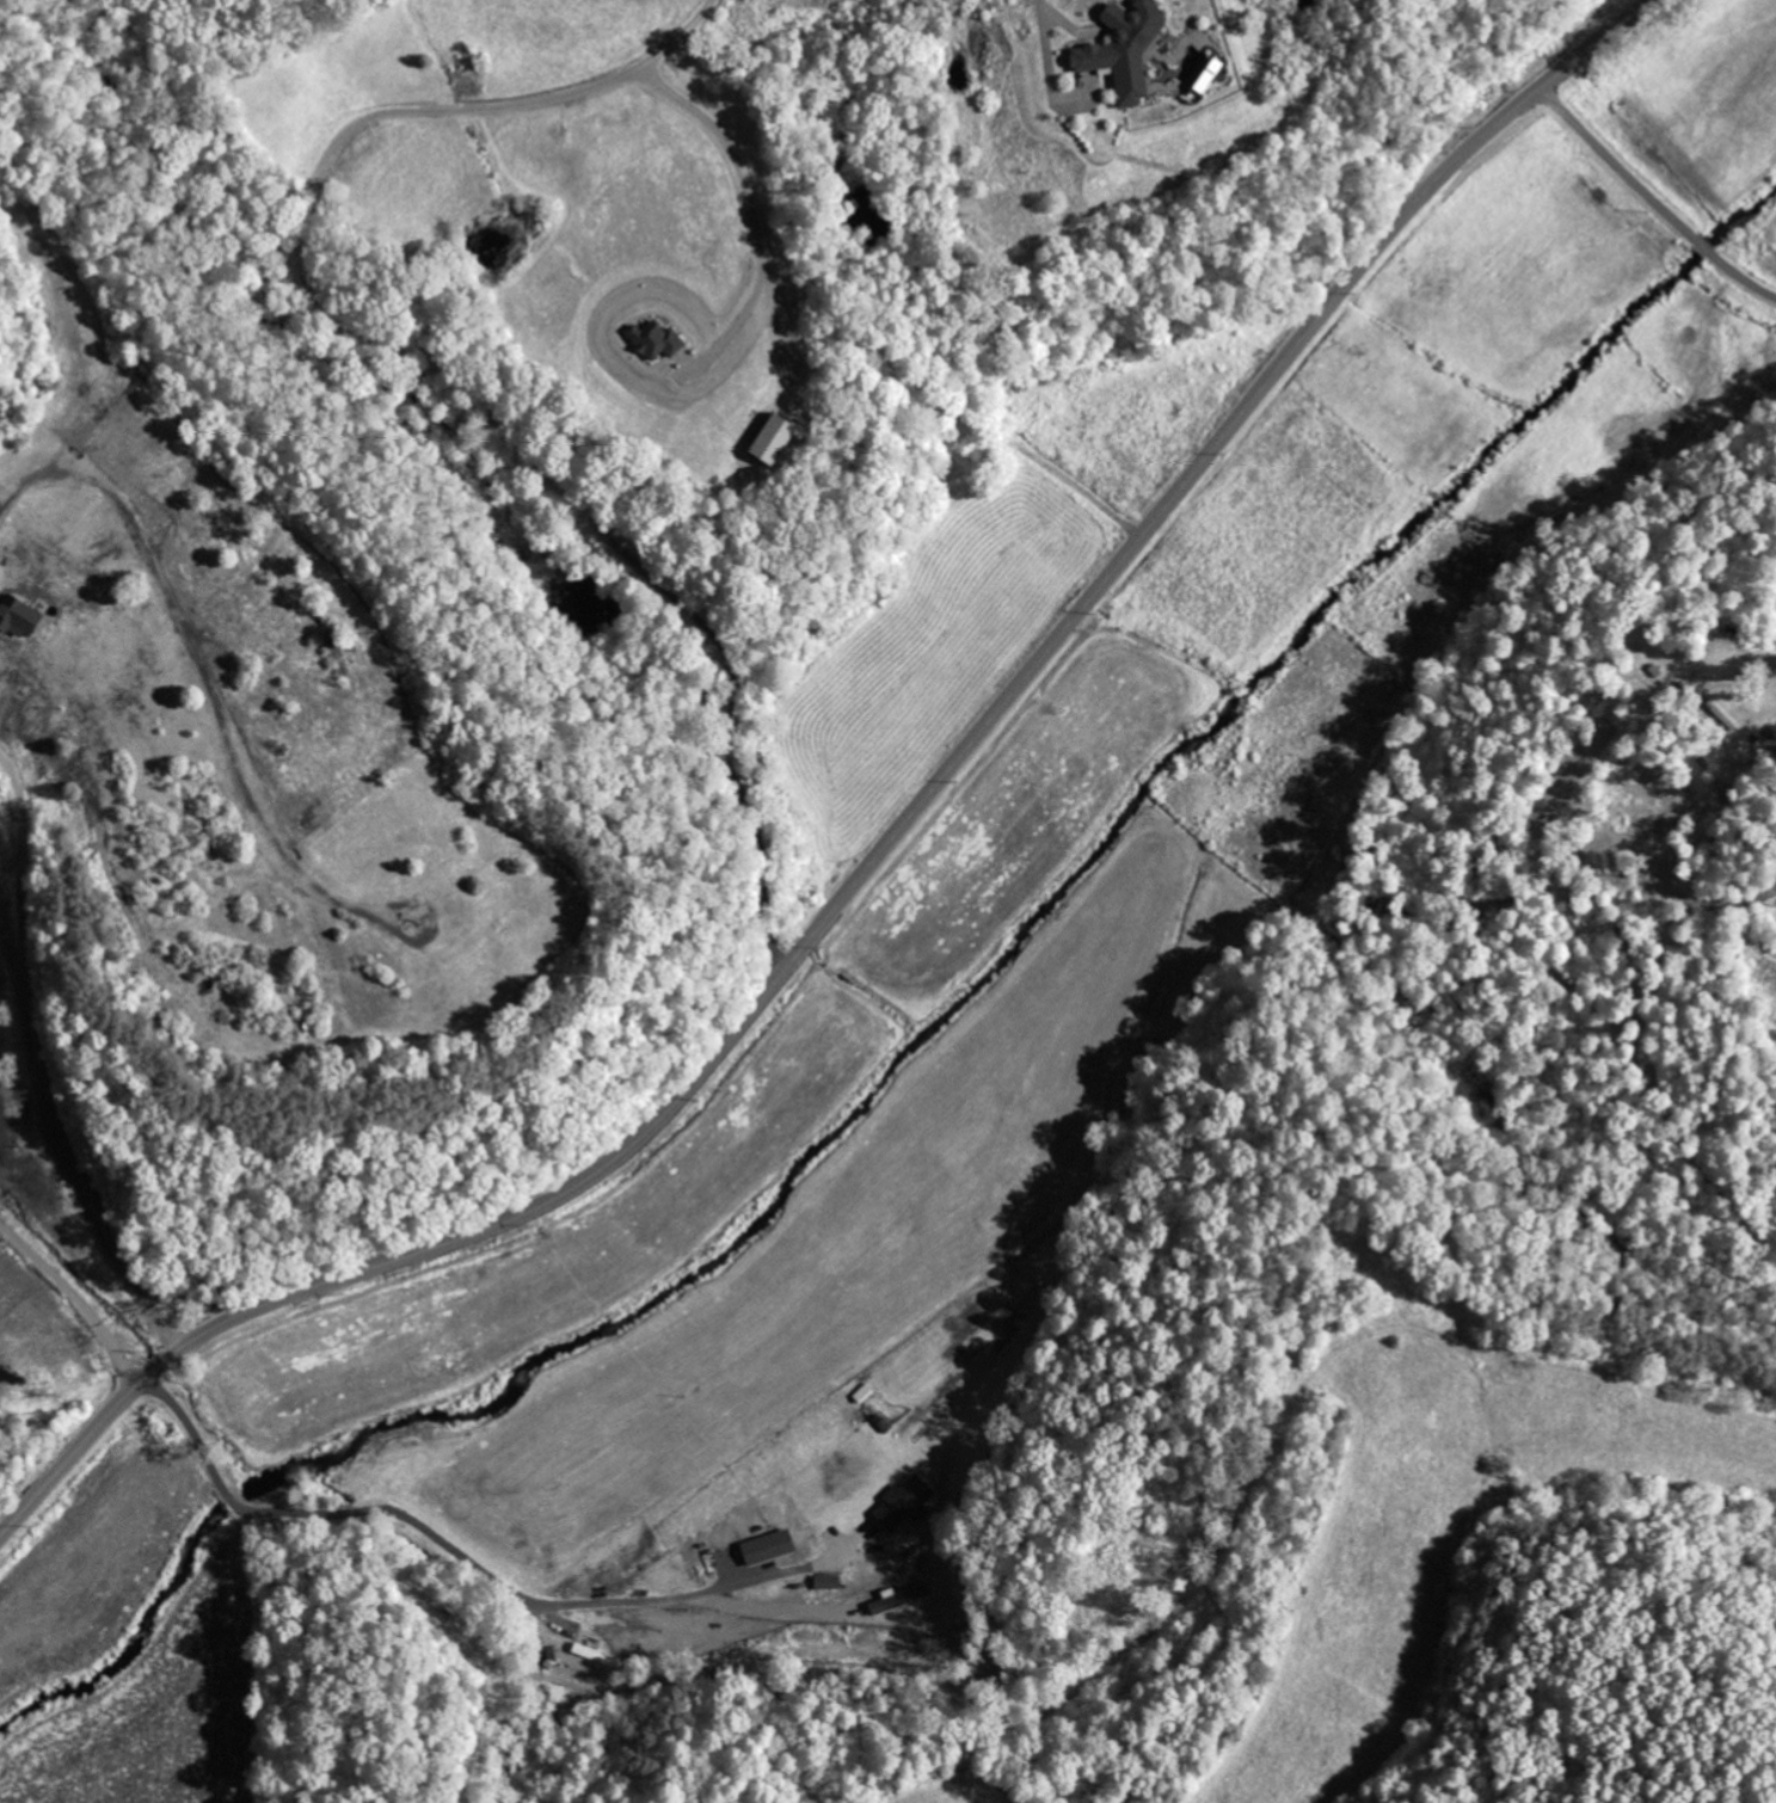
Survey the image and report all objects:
building: (1119, 48)
building: (1203, 74)
building: (652, 339)
building: (764, 439)
building: (18, 617)
road: (881, 845)
road: (54, 1140)
building: (902, 1503)
building: (762, 1546)
building: (824, 1582)

